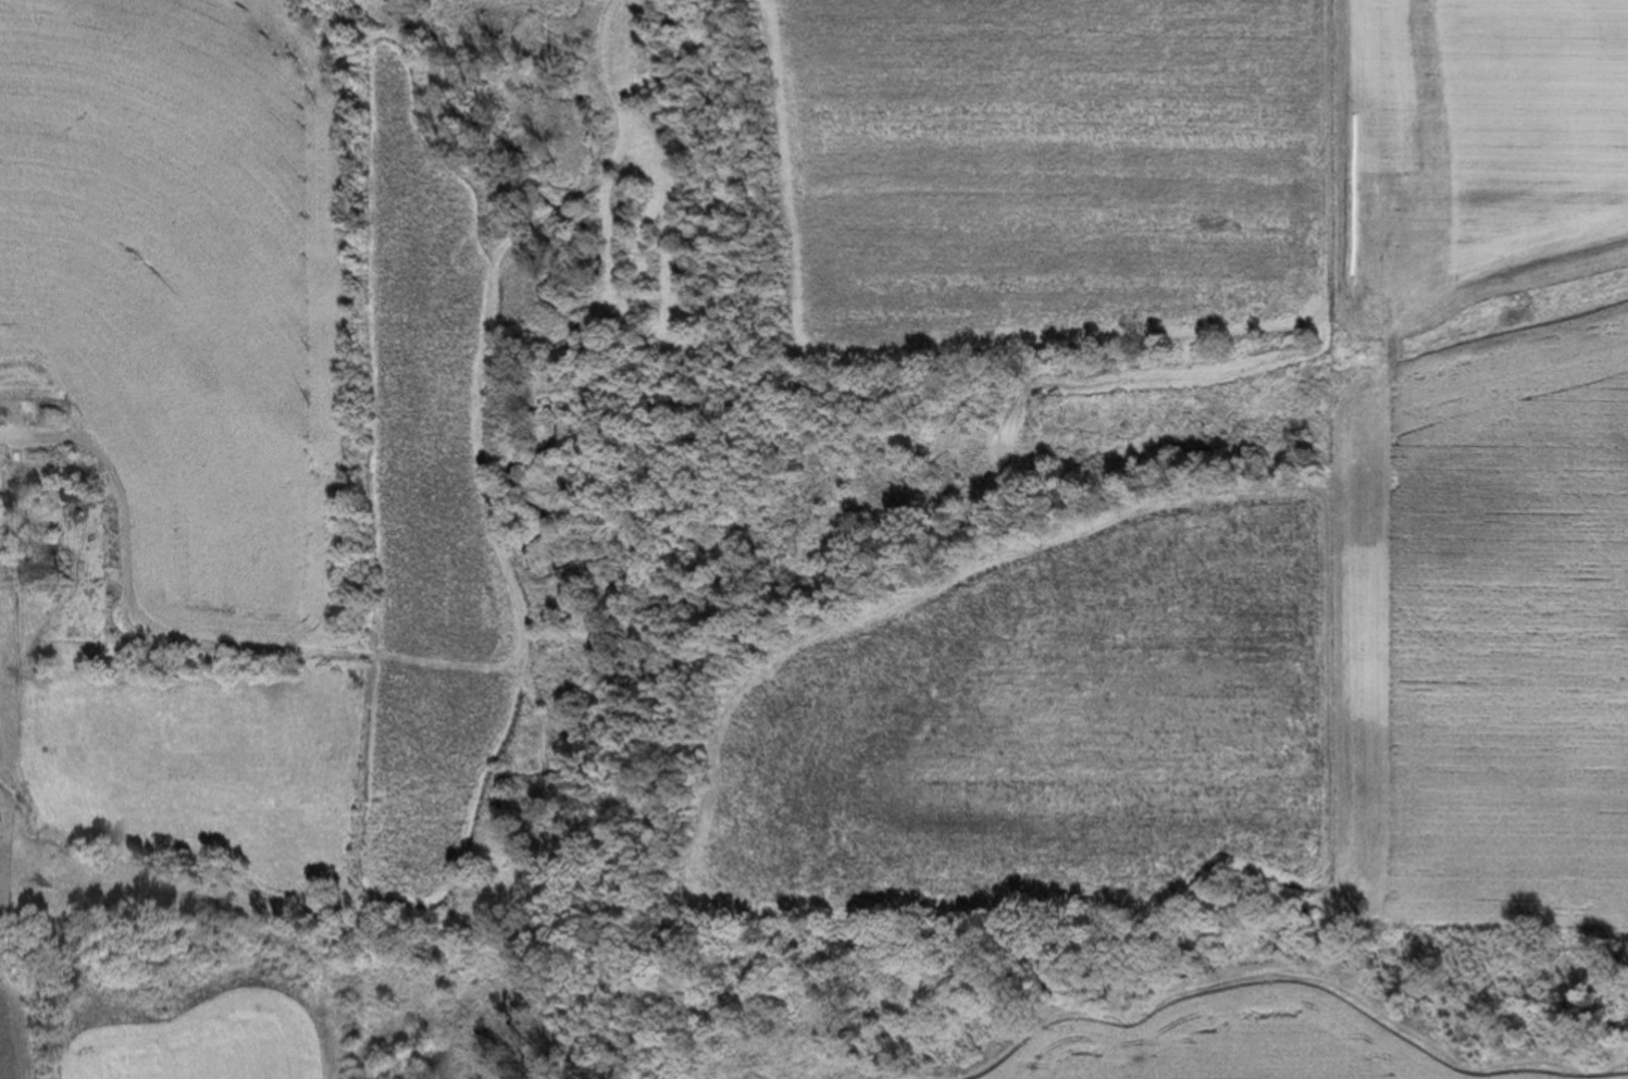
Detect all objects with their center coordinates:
building: (35, 561)

